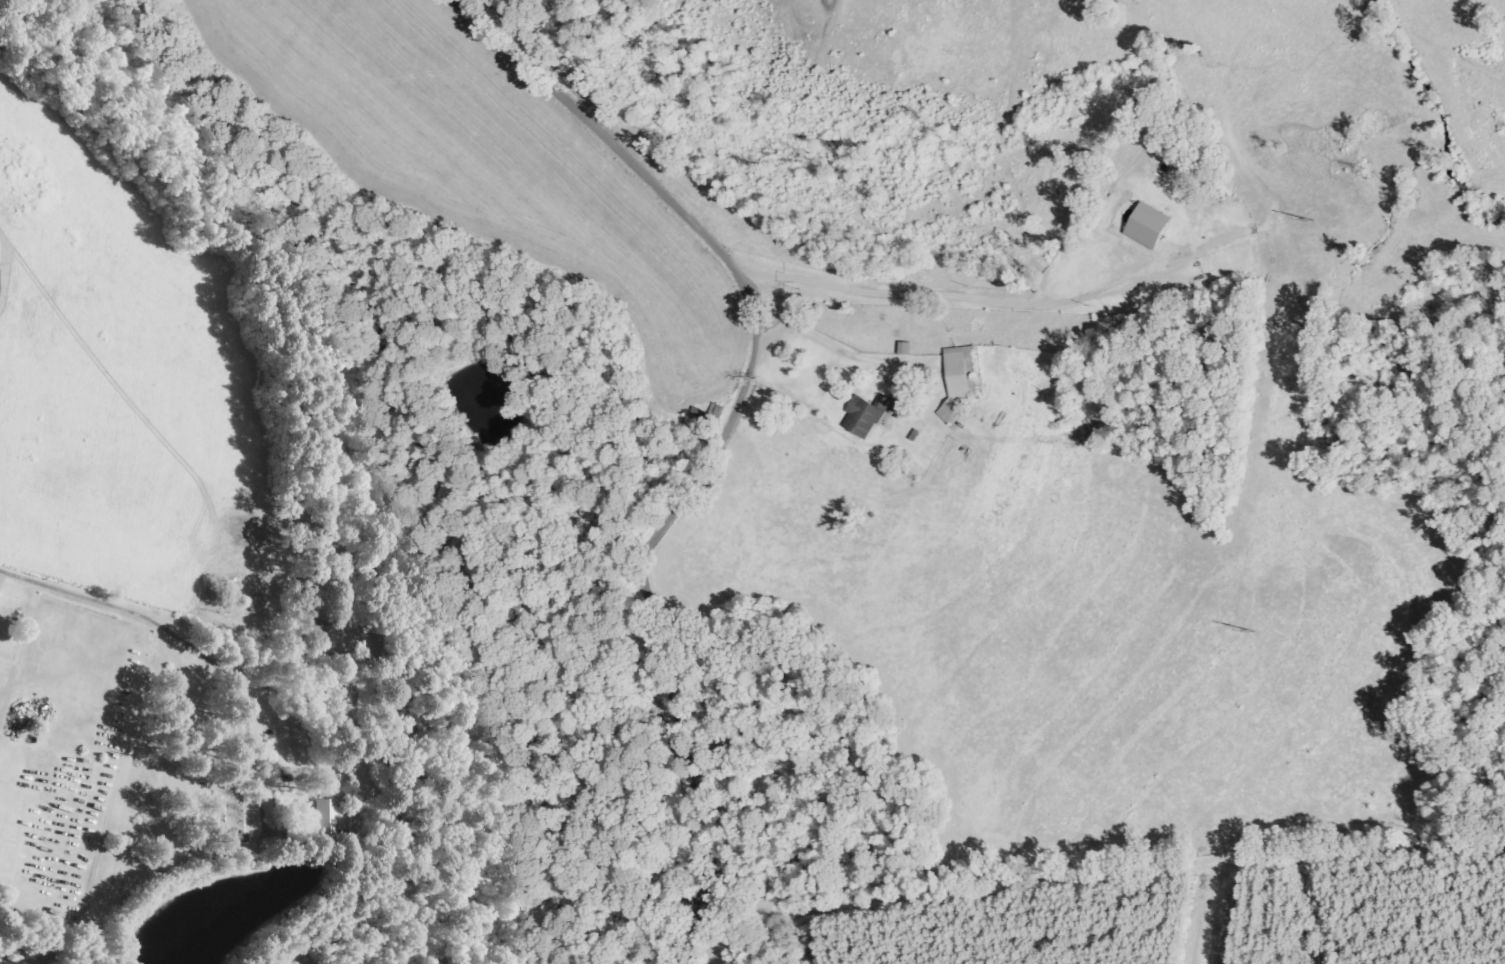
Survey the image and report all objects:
building: (1151, 226)
building: (0, 273)
building: (957, 381)
building: (877, 409)
road: (731, 444)
road: (203, 745)
building: (328, 819)

